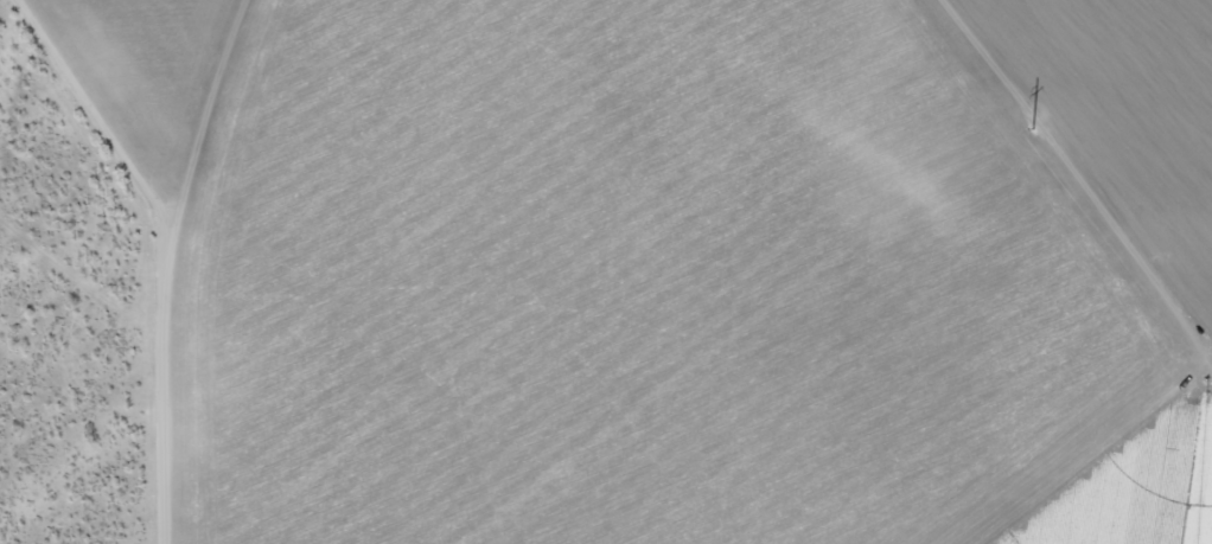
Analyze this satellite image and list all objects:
power tower: (1023, 119)
road: (165, 251)

